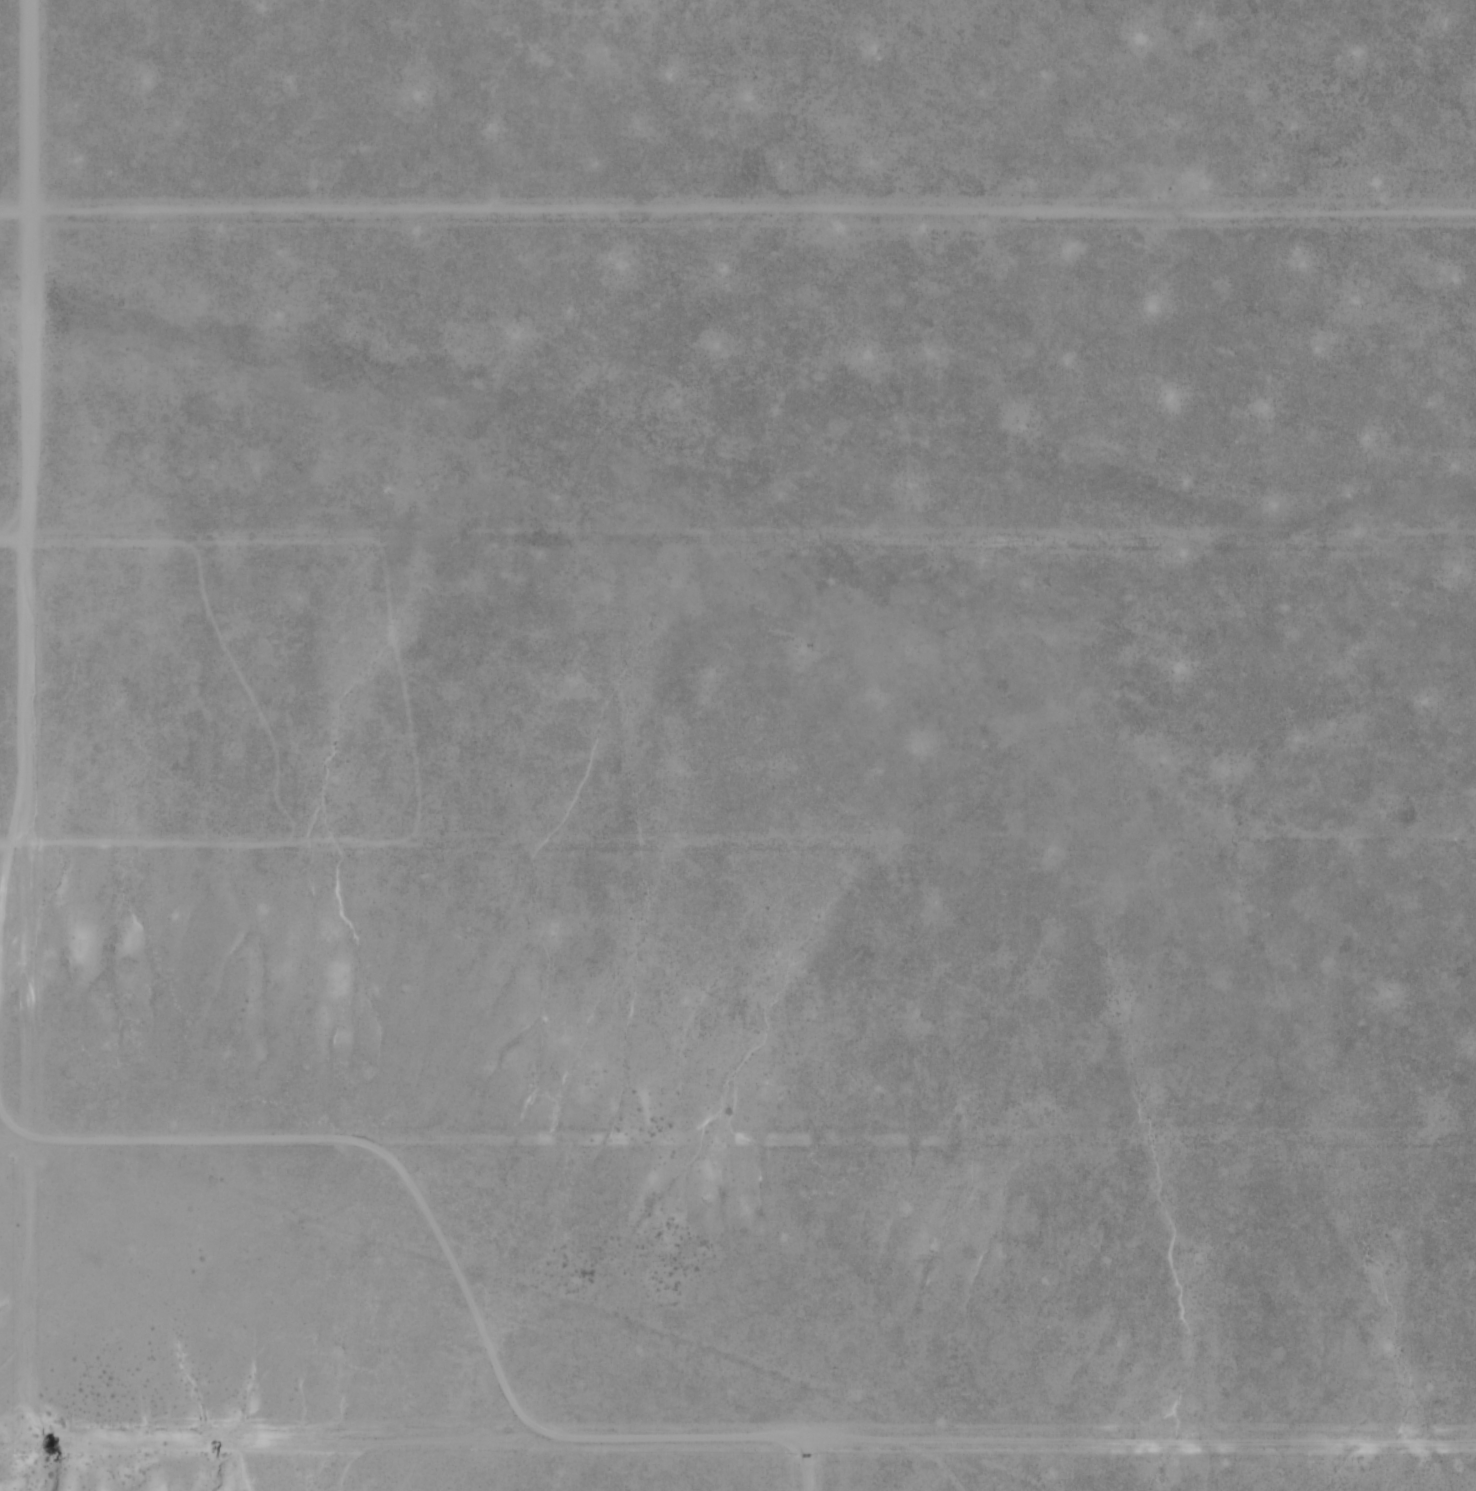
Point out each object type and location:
road: (14, 207)
road: (27, 420)
road: (13, 536)
road: (6, 839)
road: (6, 857)
road: (16, 1041)
road: (16, 1135)
road: (861, 1439)
road: (278, 1440)
road: (1196, 1441)
road: (805, 1465)

